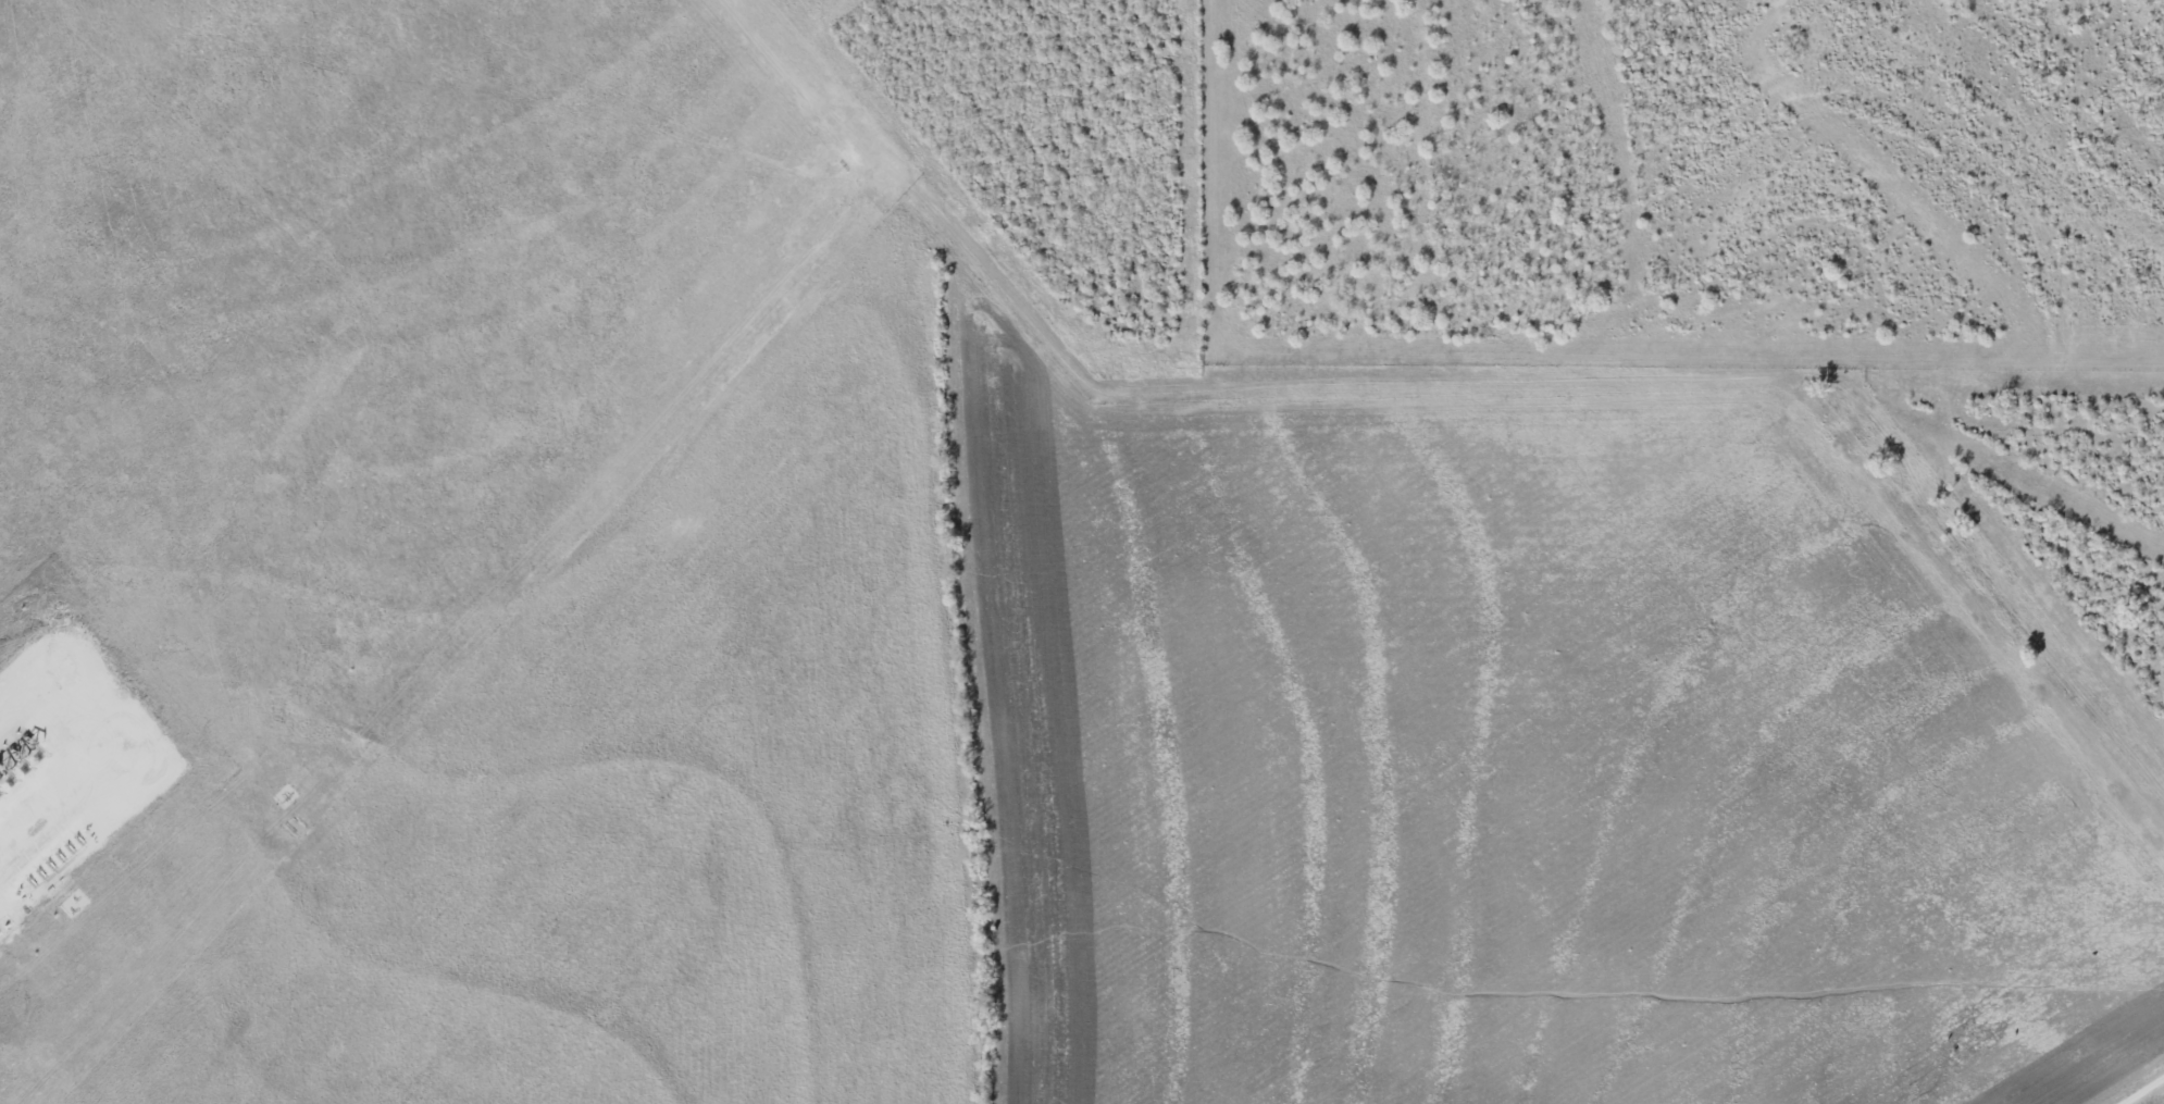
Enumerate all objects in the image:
road: (2153, 1096)

